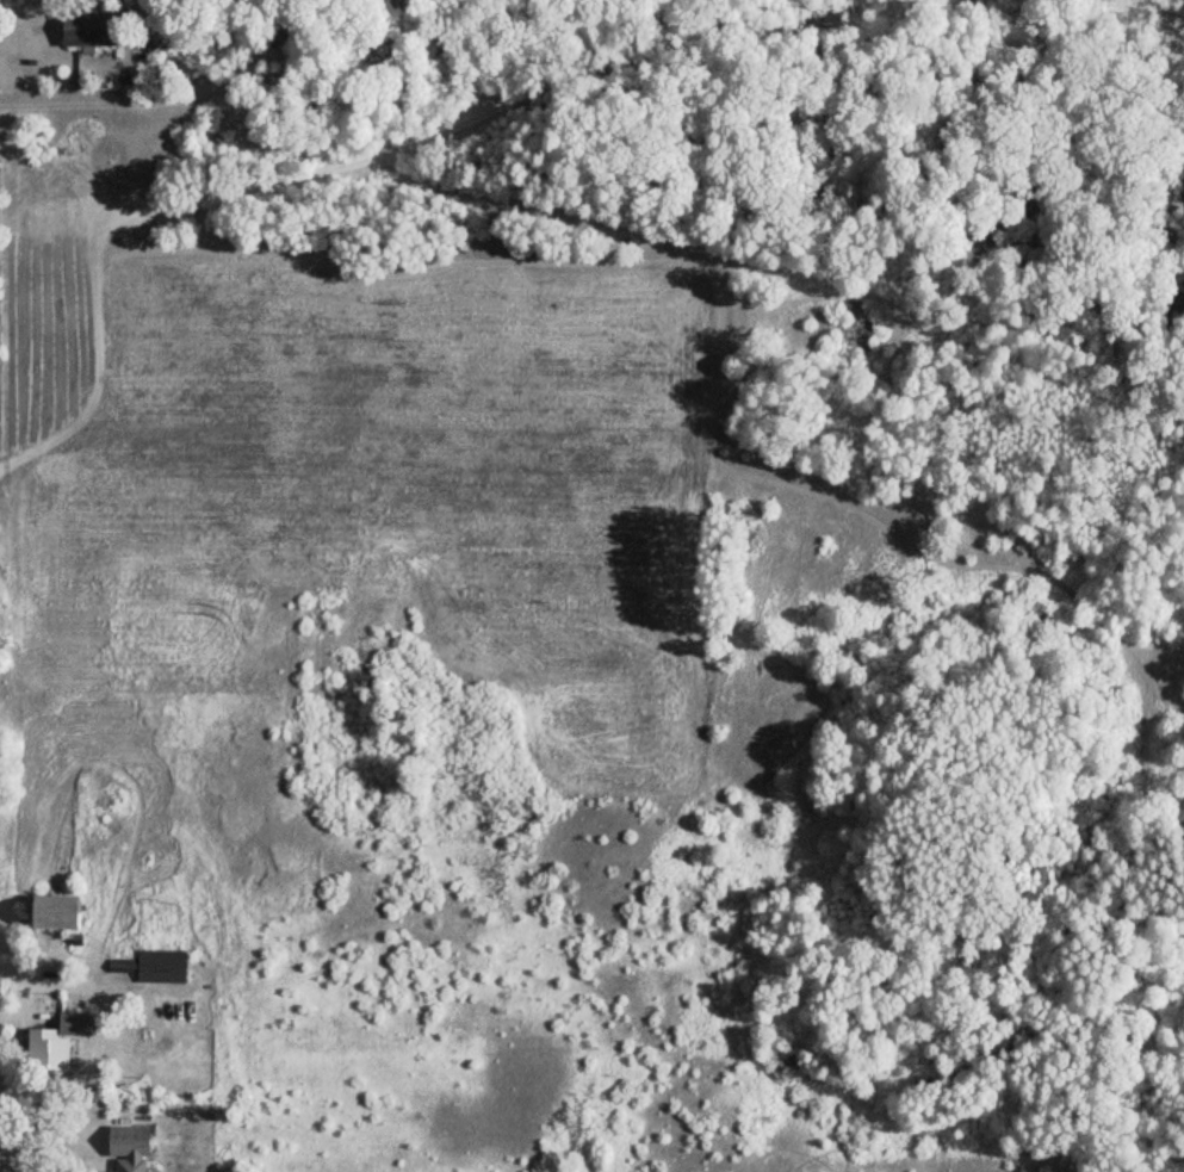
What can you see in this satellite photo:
building: (87, 30)
building: (853, 331)
road: (510, 435)
building: (52, 913)
building: (118, 968)
building: (159, 968)
road: (52, 1130)
building: (124, 1149)

